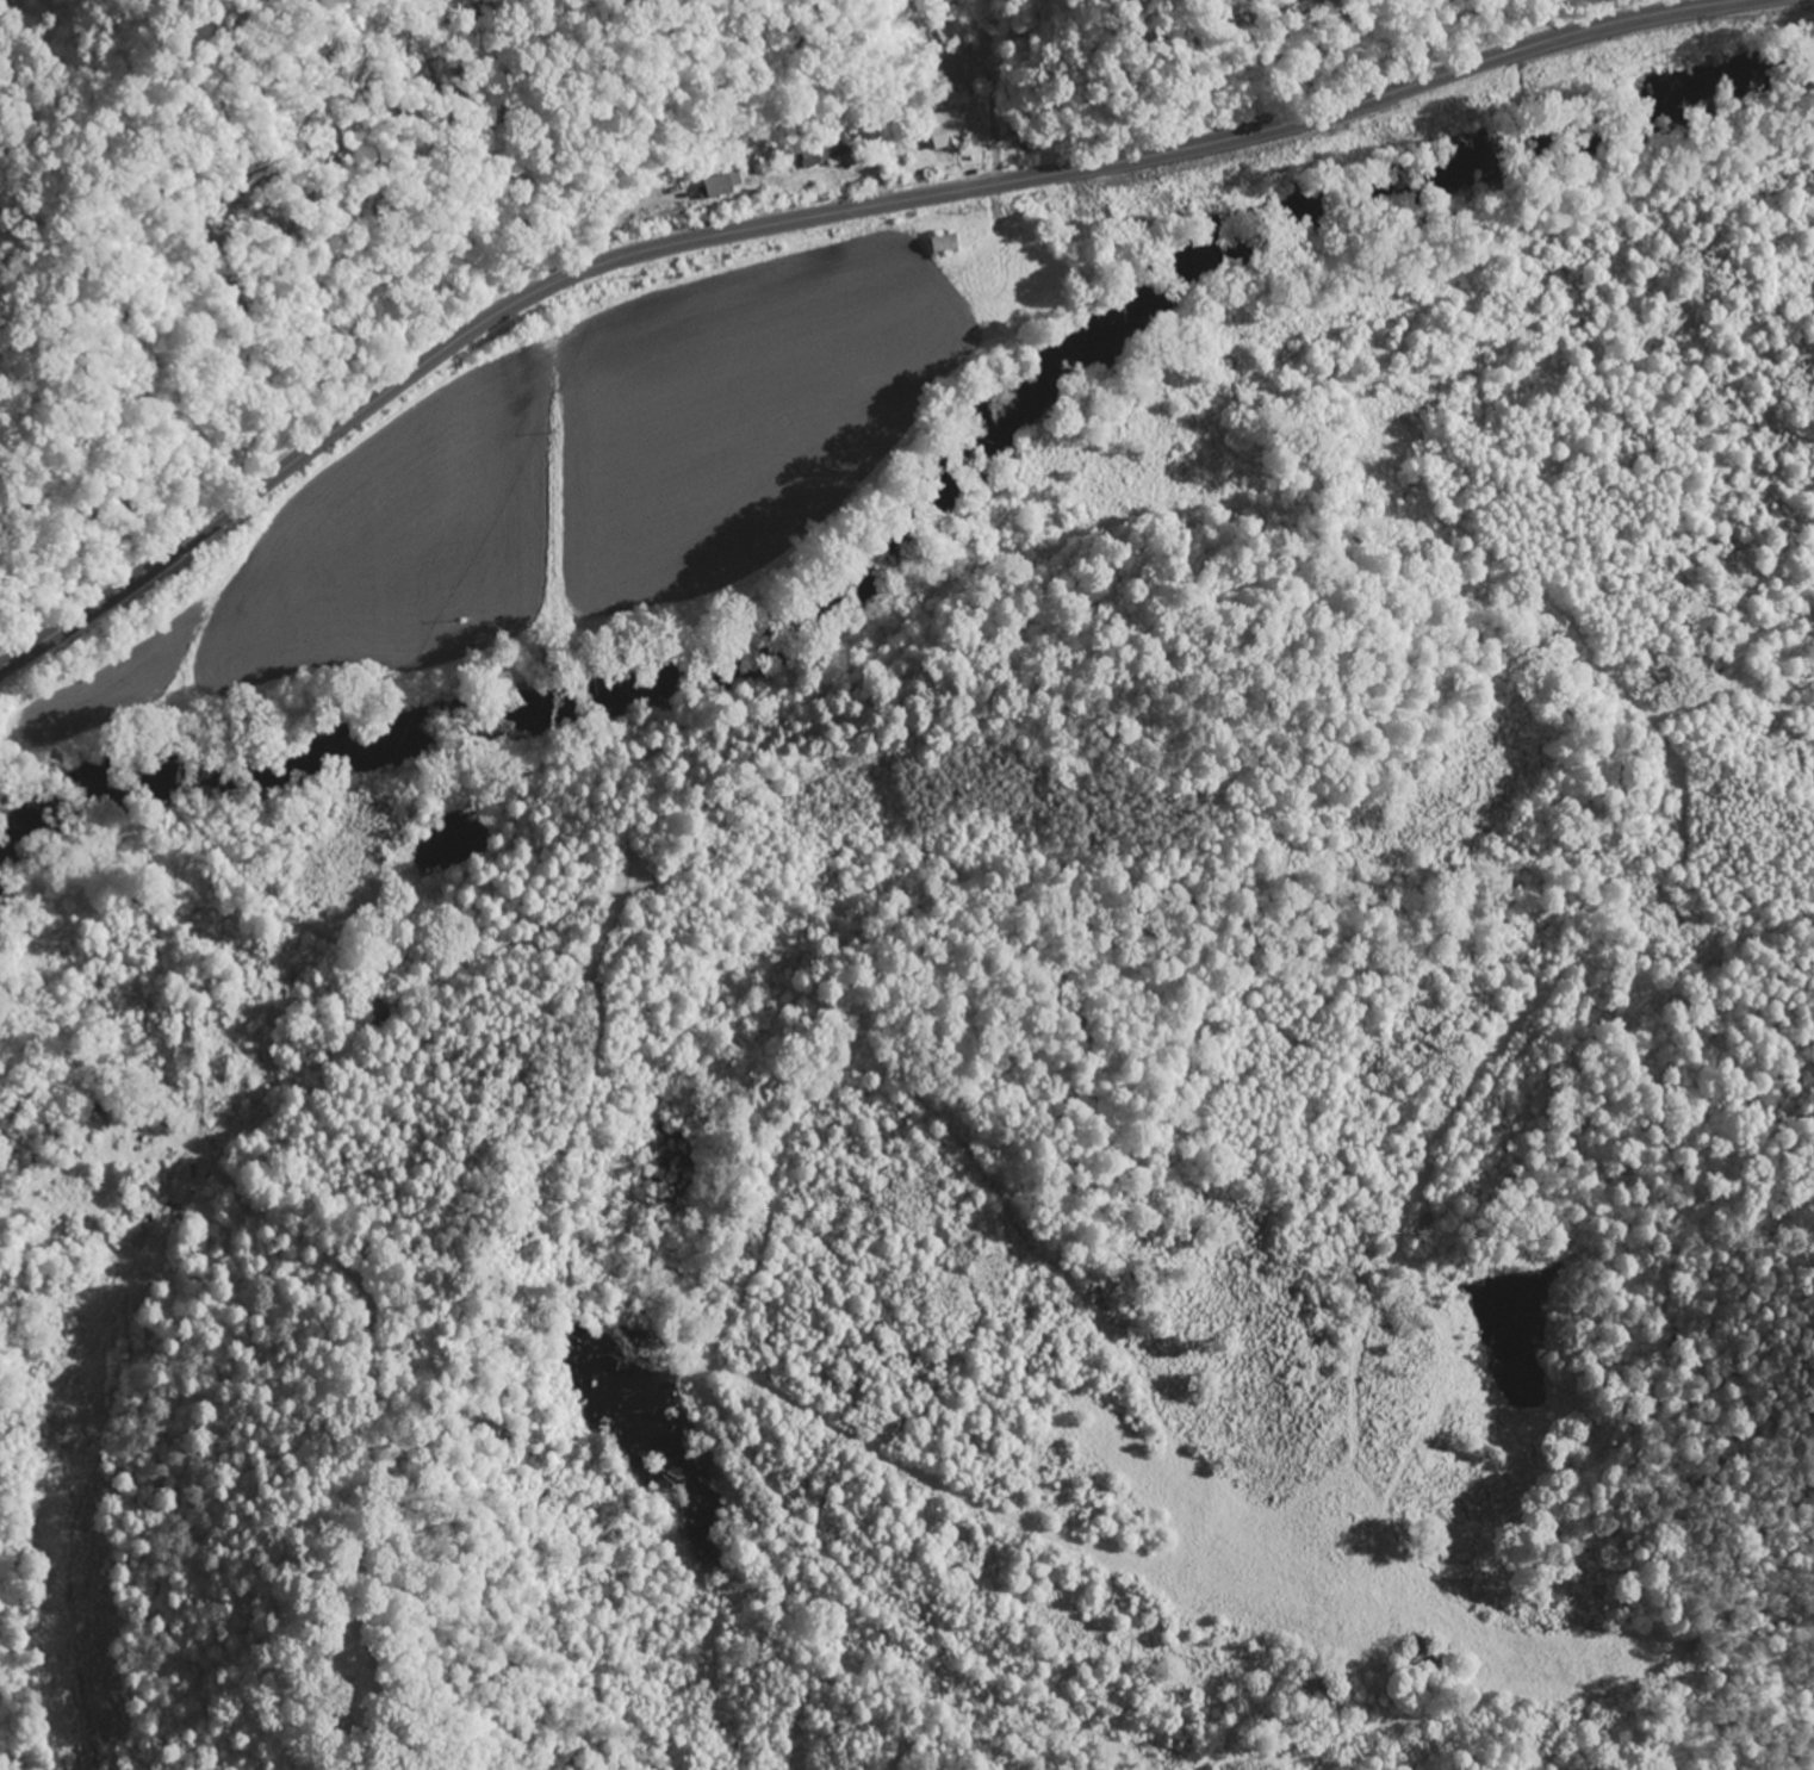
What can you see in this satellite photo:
building: (951, 130)
road: (833, 213)
building: (951, 246)

